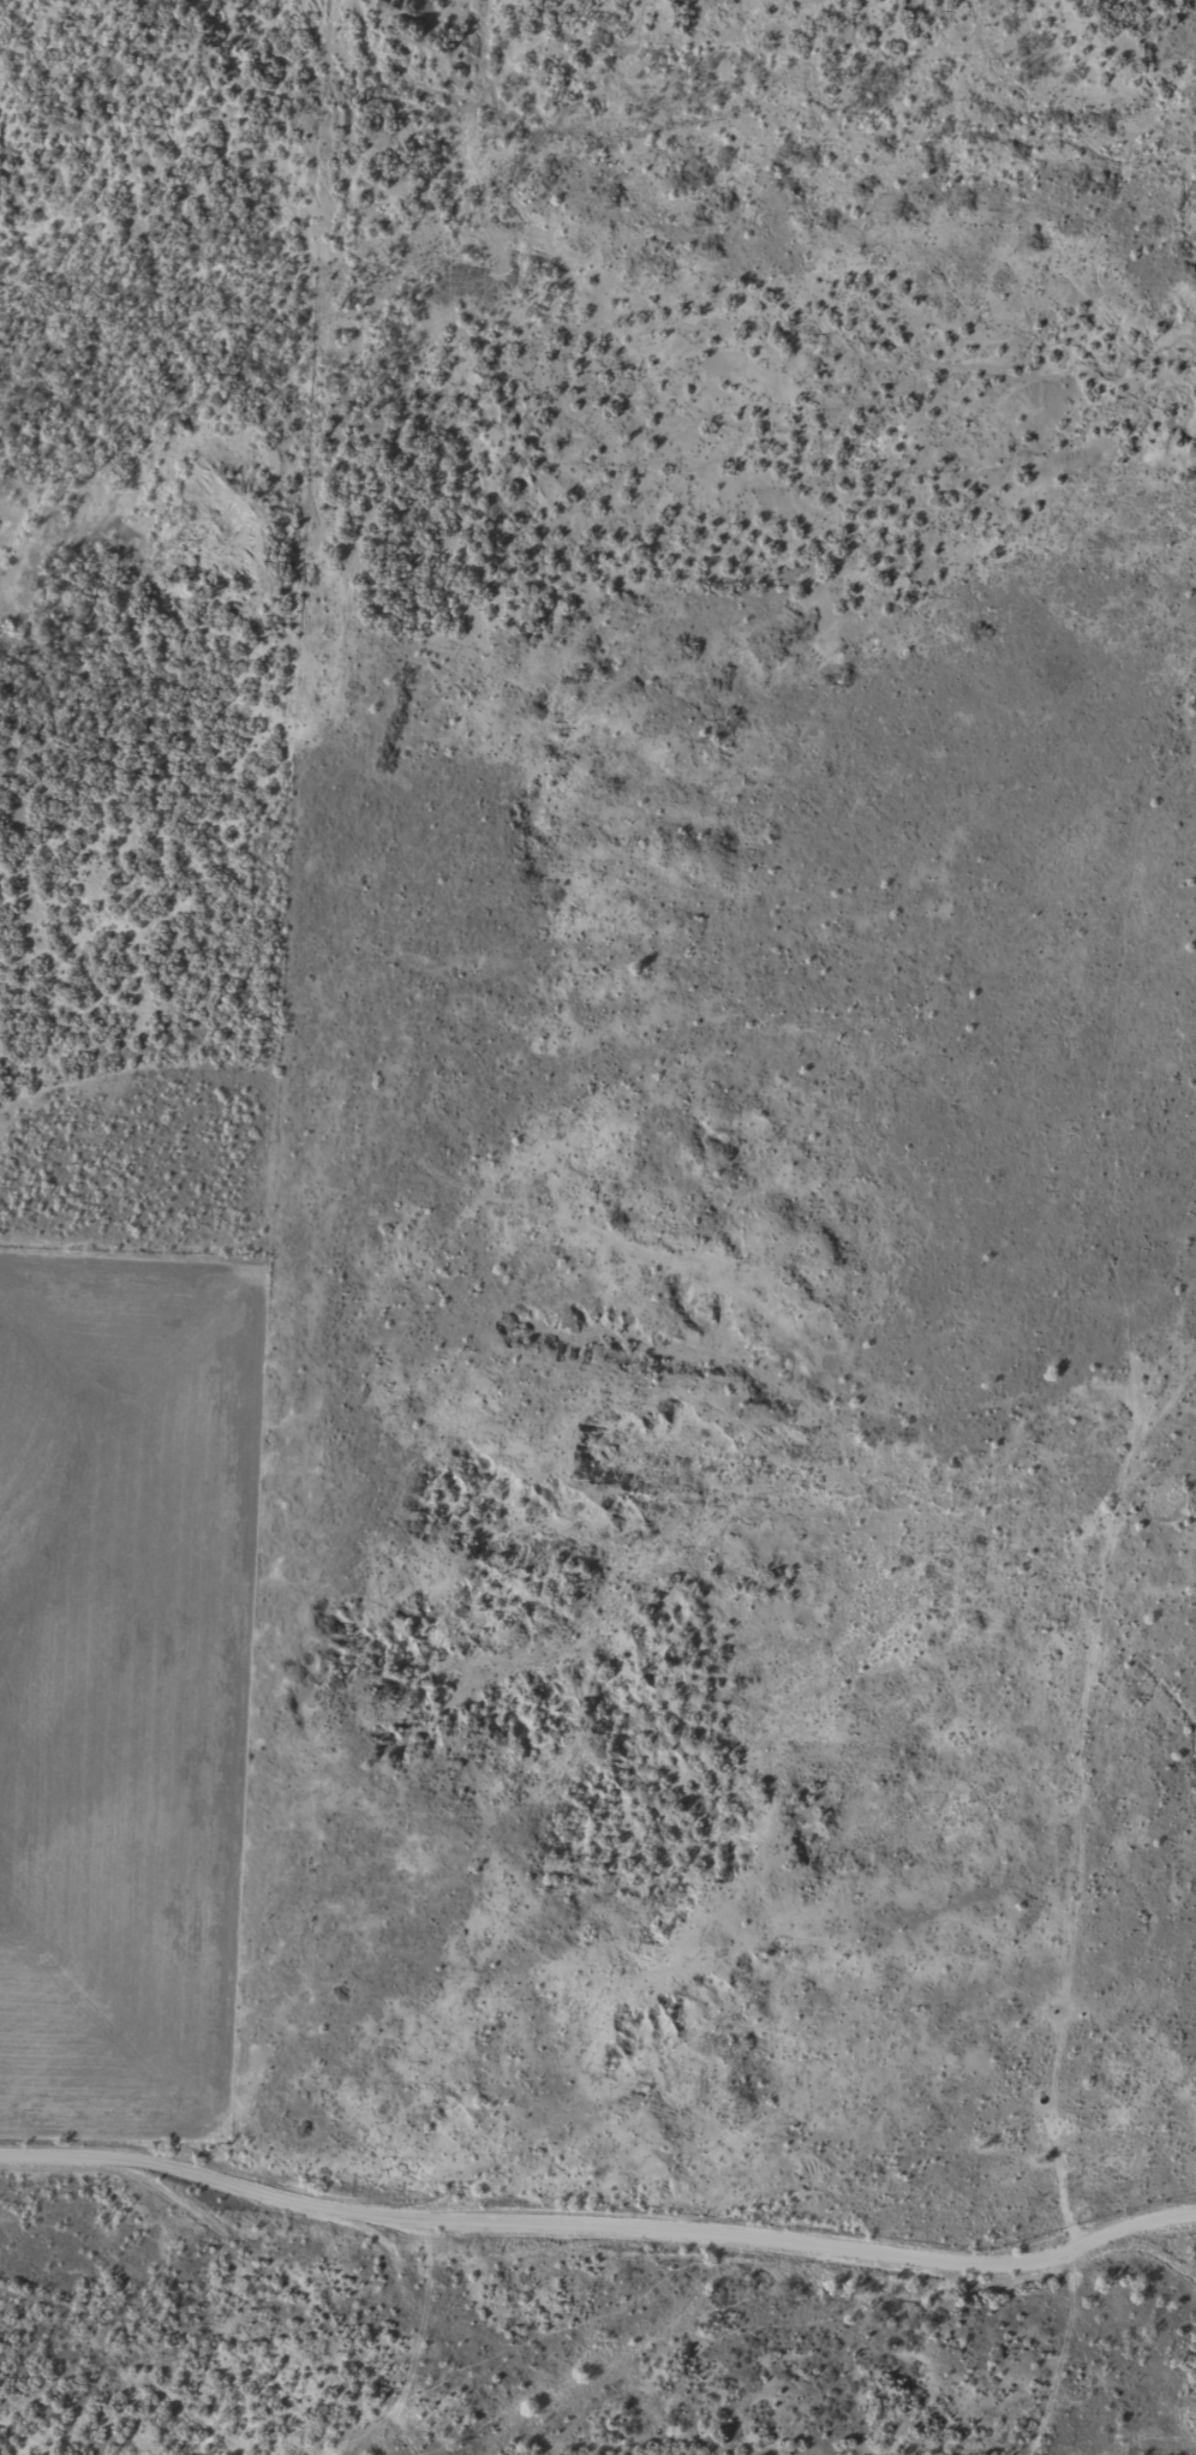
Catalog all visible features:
road: (593, 2260)
road: (1190, 2403)

